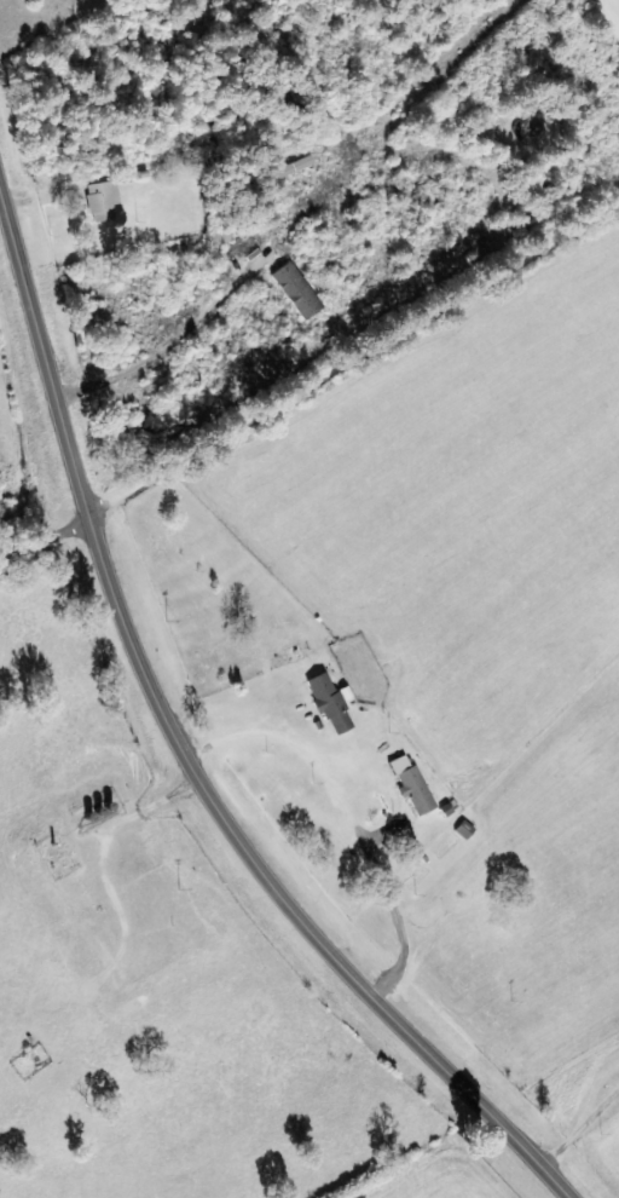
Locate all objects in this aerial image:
building: (103, 200)
building: (297, 290)
road: (351, 346)
road: (41, 534)
building: (332, 704)
road: (184, 754)
building: (413, 785)

